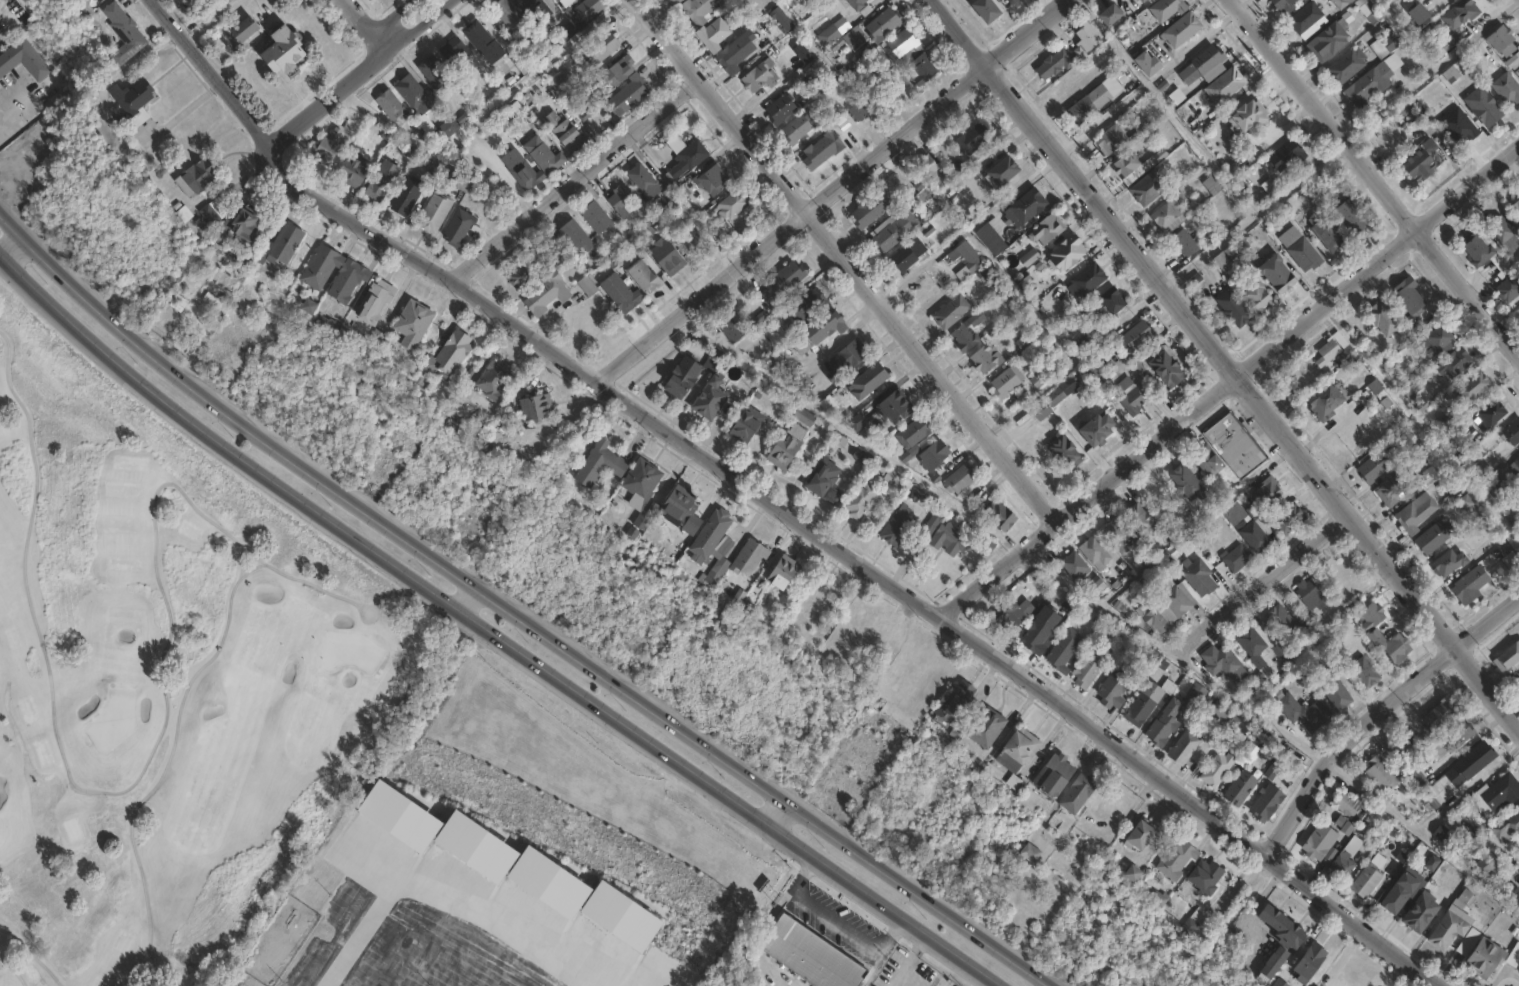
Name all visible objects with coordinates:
building: (371, 0)
building: (555, 0)
building: (1140, 1)
building: (563, 2)
building: (671, 2)
building: (793, 2)
building: (1009, 2)
building: (1339, 3)
building: (852, 4)
road: (1241, 4)
building: (1282, 6)
building: (1165, 8)
building: (586, 9)
building: (532, 10)
building: (695, 10)
building: (982, 10)
building: (1367, 11)
building: (1416, 13)
building: (1458, 14)
building: (1107, 15)
road: (384, 17)
building: (508, 17)
building: (779, 17)
building: (1303, 17)
road: (212, 22)
road: (362, 22)
building: (881, 24)
building: (242, 26)
road: (416, 26)
building: (1312, 28)
building: (1179, 30)
building: (125, 34)
building: (710, 34)
building: (1424, 34)
building: (827, 35)
building: (480, 38)
building: (853, 38)
building: (1327, 40)
building: (1501, 40)
building: (1385, 43)
building: (899, 46)
building: (1442, 46)
building: (456, 48)
building: (599, 48)
building: (290, 49)
building: (733, 52)
building: (1066, 54)
building: (797, 56)
building: (24, 60)
building: (1144, 64)
building: (1514, 64)
building: (1345, 65)
building: (1202, 66)
building: (618, 68)
building: (919, 69)
building: (1453, 71)
building: (438, 73)
building: (758, 76)
building: (564, 80)
building: (1371, 81)
road: (1149, 84)
building: (1223, 85)
building: (1505, 89)
building: (415, 92)
building: (625, 96)
building: (1095, 97)
building: (134, 98)
road: (327, 100)
building: (582, 100)
building: (395, 106)
building: (1482, 107)
road: (18, 108)
building: (778, 108)
building: (856, 112)
building: (1190, 118)
building: (1244, 118)
building: (499, 120)
building: (450, 128)
building: (792, 130)
building: (571, 133)
building: (1119, 136)
building: (970, 139)
building: (1382, 143)
building: (330, 147)
building: (818, 150)
building: (413, 152)
building: (684, 152)
building: (548, 155)
building: (1284, 156)
building: (1416, 165)
building: (1133, 166)
building: (355, 170)
building: (926, 170)
building: (952, 171)
building: (1000, 171)
building: (443, 172)
building: (529, 175)
building: (199, 177)
road: (1374, 177)
building: (386, 180)
building: (710, 180)
building: (641, 181)
road: (569, 182)
building: (469, 183)
building: (1210, 185)
building: (1146, 188)
road: (825, 189)
building: (411, 196)
building: (909, 200)
building: (618, 201)
building: (729, 205)
building: (1022, 208)
building: (1515, 208)
building: (866, 211)
building: (437, 212)
building: (211, 214)
building: (1169, 214)
building: (593, 217)
building: (1348, 217)
building: (247, 227)
building: (463, 228)
building: (1045, 230)
building: (1502, 230)
building: (726, 231)
building: (890, 231)
building: (1325, 233)
building: (572, 236)
building: (691, 238)
building: (990, 239)
road: (7, 243)
building: (285, 243)
building: (1182, 243)
building: (1299, 250)
building: (1485, 252)
building: (1063, 254)
building: (906, 256)
building: (966, 256)
building: (664, 257)
building: (1028, 258)
road: (840, 261)
building: (1221, 261)
building: (323, 266)
building: (525, 274)
building: (1273, 275)
building: (641, 276)
building: (1084, 280)
building: (349, 281)
building: (780, 284)
building: (927, 286)
building: (590, 287)
building: (1507, 289)
building: (622, 293)
building: (550, 294)
building: (1407, 297)
building: (1256, 298)
building: (216, 301)
building: (376, 301)
building: (180, 302)
building: (1110, 302)
building: (804, 306)
building: (1231, 308)
building: (1518, 310)
building: (949, 312)
building: (1381, 319)
building: (330, 324)
building: (415, 324)
building: (728, 328)
building: (816, 331)
building: (969, 333)
building: (1134, 337)
building: (1434, 343)
building: (1333, 351)
building: (456, 353)
building: (984, 359)
building: (843, 361)
building: (772, 362)
road: (1226, 364)
building: (1452, 364)
building: (1163, 367)
building: (678, 375)
road: (1226, 378)
building: (495, 379)
building: (799, 381)
building: (865, 382)
building: (1005, 382)
building: (1471, 387)
building: (1061, 391)
building: (706, 397)
building: (1128, 397)
building: (1322, 400)
building: (893, 405)
building: (538, 407)
building: (1039, 411)
building: (461, 414)
building: (1490, 414)
building: (802, 416)
building: (740, 424)
building: (795, 430)
building: (1511, 431)
building: (1093, 432)
building: (911, 433)
building: (1226, 447)
building: (780, 450)
building: (1062, 452)
building: (908, 455)
building: (860, 456)
building: (931, 456)
building: (1516, 461)
building: (601, 464)
building: (1372, 466)
building: (1433, 467)
building: (885, 476)
building: (1517, 476)
building: (1185, 480)
building: (822, 482)
building: (642, 483)
building: (958, 483)
building: (1394, 486)
building: (1492, 487)
building: (1262, 493)
building: (858, 499)
road: (775, 505)
building: (681, 506)
building: (1414, 512)
building: (997, 515)
building: (1285, 518)
building: (1136, 520)
building: (932, 522)
building: (894, 525)
building: (1249, 526)
building: (1112, 534)
building: (714, 535)
building: (1492, 535)
building: (1432, 536)
building: (945, 539)
building: (1092, 552)
building: (750, 556)
building: (1234, 558)
building: (1448, 561)
building: (1072, 565)
building: (716, 572)
building: (784, 572)
building: (1197, 576)
road: (1257, 581)
building: (1469, 584)
building: (1308, 595)
building: (1177, 599)
road: (462, 602)
building: (1006, 614)
building: (1370, 615)
road: (508, 617)
building: (1154, 620)
building: (1284, 622)
building: (1037, 629)
road: (488, 636)
building: (1373, 637)
building: (1256, 643)
building: (1394, 647)
building: (1059, 653)
building: (1115, 653)
building: (1507, 656)
building: (1220, 659)
building: (1084, 671)
building: (1362, 672)
building: (1518, 674)
park: (154, 677)
building: (1112, 688)
building: (1196, 693)
building: (1335, 694)
building: (1145, 700)
building: (956, 703)
building: (1216, 711)
building: (1301, 711)
building: (1437, 715)
road: (1380, 716)
road: (1272, 723)
building: (1162, 724)
building: (988, 728)
building: (1260, 738)
building: (1452, 738)
building: (1182, 747)
building: (1397, 748)
building: (1019, 750)
building: (1217, 768)
building: (1379, 773)
building: (1456, 774)
building: (1056, 776)
building: (1415, 777)
building: (1240, 787)
building: (1495, 793)
building: (1078, 794)
building: (1267, 802)
building: (1345, 804)
road: (775, 817)
building: (1506, 827)
building: (1345, 829)
building: (1442, 835)
building: (1143, 836)
building: (1320, 841)
building: (1031, 853)
building: (1178, 859)
building: (1487, 863)
building: (1342, 864)
building: (1134, 873)
building: (1203, 876)
building: (1368, 876)
building: (1401, 892)
building: (1159, 899)
building: (1464, 899)
building: (1422, 912)
road: (832, 926)
building: (1450, 926)
building: (1190, 927)
building: (1281, 938)
building: (811, 955)
building: (1513, 955)
building: (1486, 956)
road: (907, 960)
building: (1312, 962)
road: (872, 971)
road: (904, 981)
building: (1281, 983)
road: (993, 984)

